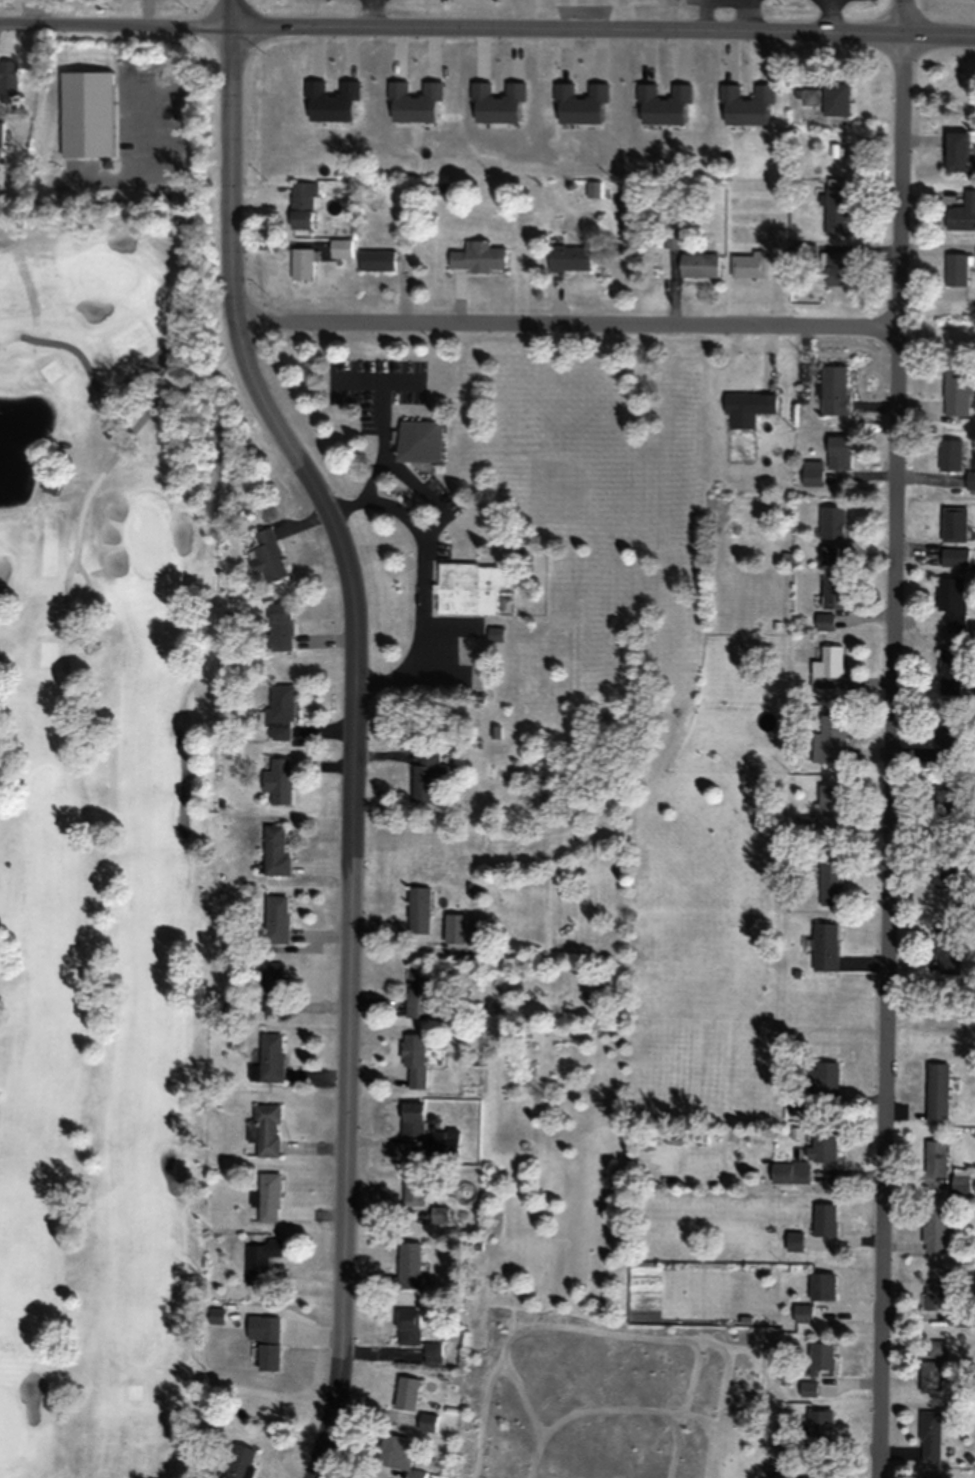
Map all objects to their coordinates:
road: (115, 20)
road: (602, 28)
building: (8, 75)
building: (826, 98)
building: (89, 100)
building: (1, 138)
building: (954, 150)
building: (592, 189)
building: (302, 204)
building: (836, 205)
building: (962, 212)
building: (776, 236)
building: (340, 247)
building: (476, 256)
building: (568, 257)
building: (376, 259)
building: (302, 263)
building: (747, 263)
building: (697, 264)
building: (836, 267)
building: (955, 268)
park: (109, 276)
road: (605, 322)
building: (833, 389)
building: (956, 390)
building: (746, 407)
building: (404, 432)
building: (838, 451)
building: (949, 454)
building: (811, 473)
building: (970, 479)
road: (71, 517)
building: (831, 521)
building: (953, 523)
park: (150, 537)
building: (828, 554)
building: (268, 555)
building: (954, 557)
building: (471, 588)
building: (833, 591)
building: (950, 603)
building: (823, 621)
building: (281, 627)
building: (494, 633)
building: (828, 667)
building: (949, 669)
road: (430, 690)
building: (281, 711)
road: (355, 727)
building: (828, 737)
building: (947, 738)
road: (893, 739)
building: (427, 774)
building: (279, 779)
building: (828, 799)
building: (948, 808)
park: (102, 812)
building: (803, 823)
building: (276, 850)
building: (830, 869)
building: (943, 870)
building: (420, 897)
building: (457, 917)
building: (277, 919)
building: (824, 946)
building: (946, 947)
building: (274, 988)
building: (421, 992)
road: (922, 1044)
building: (270, 1058)
building: (415, 1060)
building: (814, 1081)
building: (936, 1090)
building: (412, 1117)
building: (268, 1129)
building: (444, 1143)
road: (495, 1143)
building: (821, 1152)
building: (934, 1158)
building: (959, 1180)
building: (414, 1187)
building: (269, 1197)
road: (488, 1201)
building: (439, 1214)
building: (823, 1218)
building: (936, 1232)
building: (794, 1238)
building: (261, 1259)
building: (409, 1265)
building: (821, 1286)
building: (935, 1296)
building: (802, 1312)
building: (964, 1317)
building: (408, 1326)
building: (268, 1348)
building: (936, 1348)
building: (432, 1350)
building: (820, 1357)
building: (930, 1376)
building: (808, 1388)
building: (406, 1393)
building: (427, 1421)
park: (9, 1424)
building: (818, 1424)
building: (929, 1435)
building: (787, 1450)
building: (397, 1455)
building: (239, 1461)
building: (819, 1475)
building: (931, 1476)

